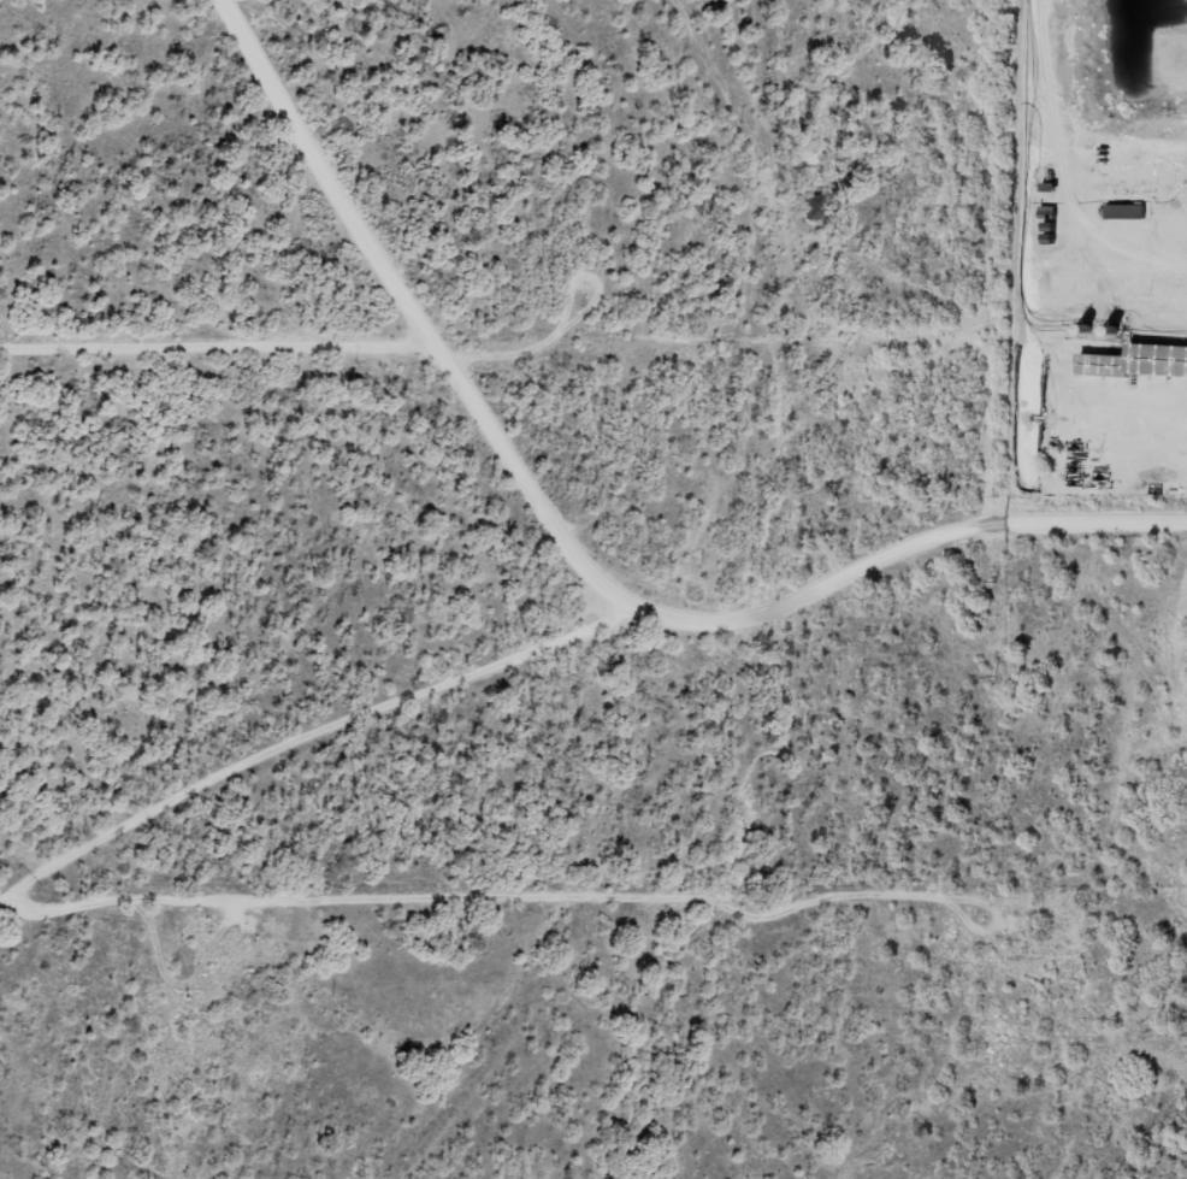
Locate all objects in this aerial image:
building: (1176, 54)
building: (809, 207)
building: (1123, 212)
road: (430, 316)
building: (1136, 362)
road: (223, 371)
road: (900, 584)
railway: (686, 631)
road: (301, 761)
road: (1150, 856)
road: (23, 933)

